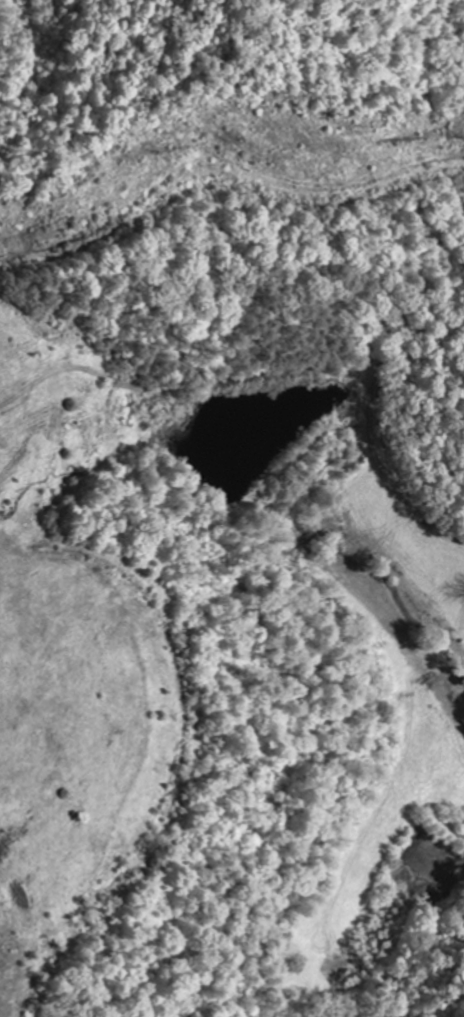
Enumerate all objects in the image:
landfill: (53, 885)

